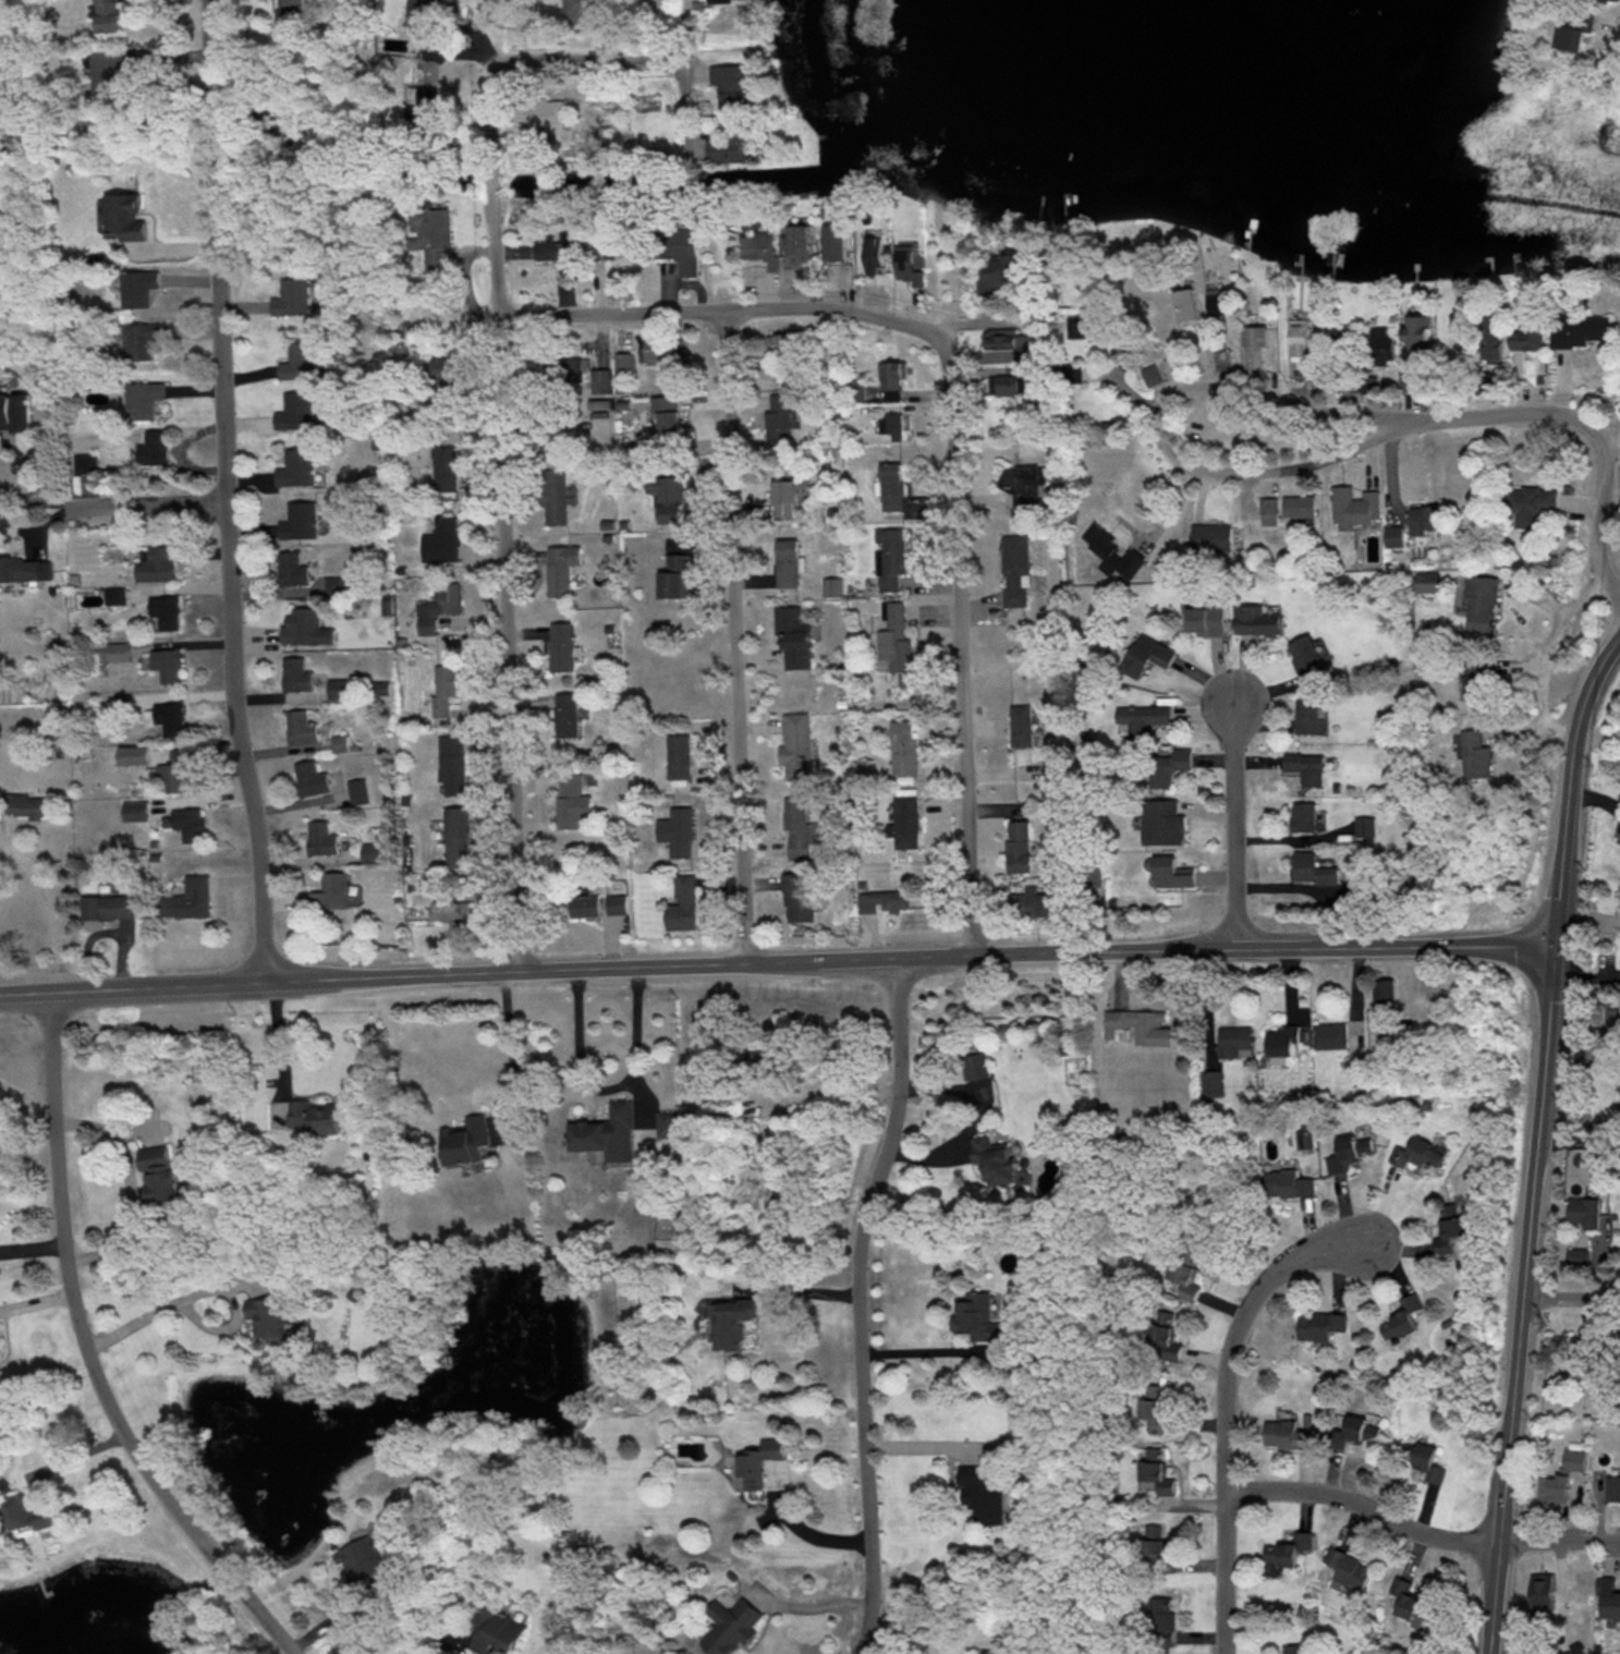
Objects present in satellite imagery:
building: (715, 0)
building: (584, 10)
building: (295, 13)
building: (425, 14)
building: (108, 15)
building: (1572, 31)
road: (586, 61)
building: (106, 72)
road: (682, 73)
building: (733, 86)
building: (423, 100)
building: (541, 113)
building: (734, 147)
building: (126, 216)
building: (431, 238)
building: (836, 242)
building: (800, 244)
building: (682, 248)
building: (760, 248)
building: (562, 251)
building: (874, 255)
building: (908, 264)
building: (1002, 271)
building: (141, 287)
building: (293, 297)
building: (1217, 304)
building: (1189, 305)
road: (728, 309)
building: (1084, 324)
road: (976, 325)
building: (1579, 329)
building: (1416, 331)
building: (999, 338)
building: (1527, 338)
building: (143, 339)
building: (1299, 339)
building: (1490, 339)
building: (779, 341)
building: (1380, 342)
building: (1254, 345)
building: (665, 351)
building: (1223, 360)
building: (301, 361)
building: (623, 368)
building: (563, 369)
building: (442, 372)
building: (1152, 374)
building: (893, 379)
building: (601, 380)
building: (1003, 384)
building: (144, 399)
building: (14, 410)
building: (296, 411)
building: (666, 414)
building: (780, 418)
building: (891, 426)
road: (1160, 427)
road: (1594, 428)
road: (1611, 436)
building: (155, 448)
building: (86, 462)
building: (297, 467)
building: (444, 469)
building: (891, 486)
building: (1026, 488)
road: (224, 492)
building: (788, 495)
building: (556, 496)
building: (668, 497)
road: (144, 504)
building: (1530, 504)
building: (1299, 506)
building: (1354, 507)
building: (1268, 510)
road: (504, 516)
building: (1424, 518)
building: (300, 520)
building: (1393, 535)
building: (1210, 536)
building: (442, 540)
building: (1112, 551)
building: (890, 557)
building: (788, 562)
building: (156, 563)
building: (25, 567)
building: (562, 568)
building: (292, 569)
building: (1016, 570)
building: (675, 576)
building: (1428, 581)
building: (339, 583)
building: (833, 586)
building: (114, 595)
building: (1481, 601)
building: (439, 606)
building: (166, 611)
building: (1207, 619)
building: (1256, 620)
building: (306, 628)
building: (794, 636)
road: (733, 637)
building: (897, 639)
building: (562, 646)
building: (119, 650)
road: (962, 654)
road: (1546, 654)
building: (1148, 655)
building: (1306, 656)
building: (168, 664)
building: (296, 674)
building: (1475, 674)
building: (381, 688)
building: (338, 689)
building: (444, 689)
building: (567, 714)
building: (168, 717)
building: (1311, 717)
building: (1143, 718)
building: (1021, 726)
building: (301, 727)
building: (340, 743)
building: (796, 746)
building: (904, 746)
building: (135, 754)
building: (1475, 754)
building: (680, 757)
building: (452, 764)
building: (1169, 766)
building: (1306, 767)
building: (179, 769)
building: (1051, 769)
building: (312, 778)
building: (358, 791)
building: (572, 800)
building: (28, 805)
road: (1233, 810)
building: (136, 811)
building: (1303, 816)
building: (1162, 822)
building: (190, 823)
building: (905, 823)
building: (799, 826)
building: (1364, 826)
building: (679, 831)
building: (458, 836)
building: (321, 838)
building: (1019, 846)
building: (1311, 868)
building: (1172, 872)
building: (333, 890)
building: (799, 895)
building: (188, 898)
building: (882, 900)
building: (1035, 901)
building: (584, 903)
building: (617, 903)
building: (684, 904)
building: (105, 909)
building: (455, 910)
road: (48, 911)
traffic signals: (1555, 950)
road: (777, 963)
building: (1385, 993)
building: (1140, 1025)
building: (1329, 1035)
building: (1282, 1039)
building: (1234, 1042)
road: (281, 1046)
road: (510, 1054)
building: (975, 1065)
building: (1211, 1083)
road: (824, 1090)
road: (609, 1091)
building: (313, 1116)
building: (668, 1123)
building: (607, 1132)
building: (463, 1140)
road: (1536, 1143)
road: (1578, 1143)
building: (1348, 1152)
building: (1417, 1153)
building: (992, 1159)
building: (158, 1171)
building: (1287, 1183)
road: (129, 1185)
building: (1584, 1211)
building: (1449, 1227)
building: (1578, 1254)
building: (1184, 1278)
road: (198, 1293)
road: (799, 1293)
road: (1571, 1300)
road: (858, 1304)
building: (266, 1315)
building: (976, 1316)
building: (1402, 1317)
building: (732, 1322)
building: (1319, 1325)
building: (1164, 1335)
road: (926, 1353)
road: (84, 1354)
road: (1225, 1391)
building: (1159, 1412)
building: (1353, 1428)
building: (1280, 1433)
road: (923, 1445)
building: (757, 1462)
building: (1429, 1462)
building: (1157, 1470)
building: (1559, 1480)
building: (1612, 1487)
building: (983, 1492)
building: (31, 1511)
road: (796, 1528)
road: (1417, 1532)
building: (1155, 1543)
building: (1287, 1552)
building: (356, 1558)
building: (1349, 1568)
building: (1540, 1593)
building: (1606, 1597)
building: (1412, 1600)
road: (809, 1608)
building: (1161, 1618)
building: (728, 1626)
building: (497, 1631)
road: (446, 1643)
building: (1295, 1649)
building: (996, 1651)

